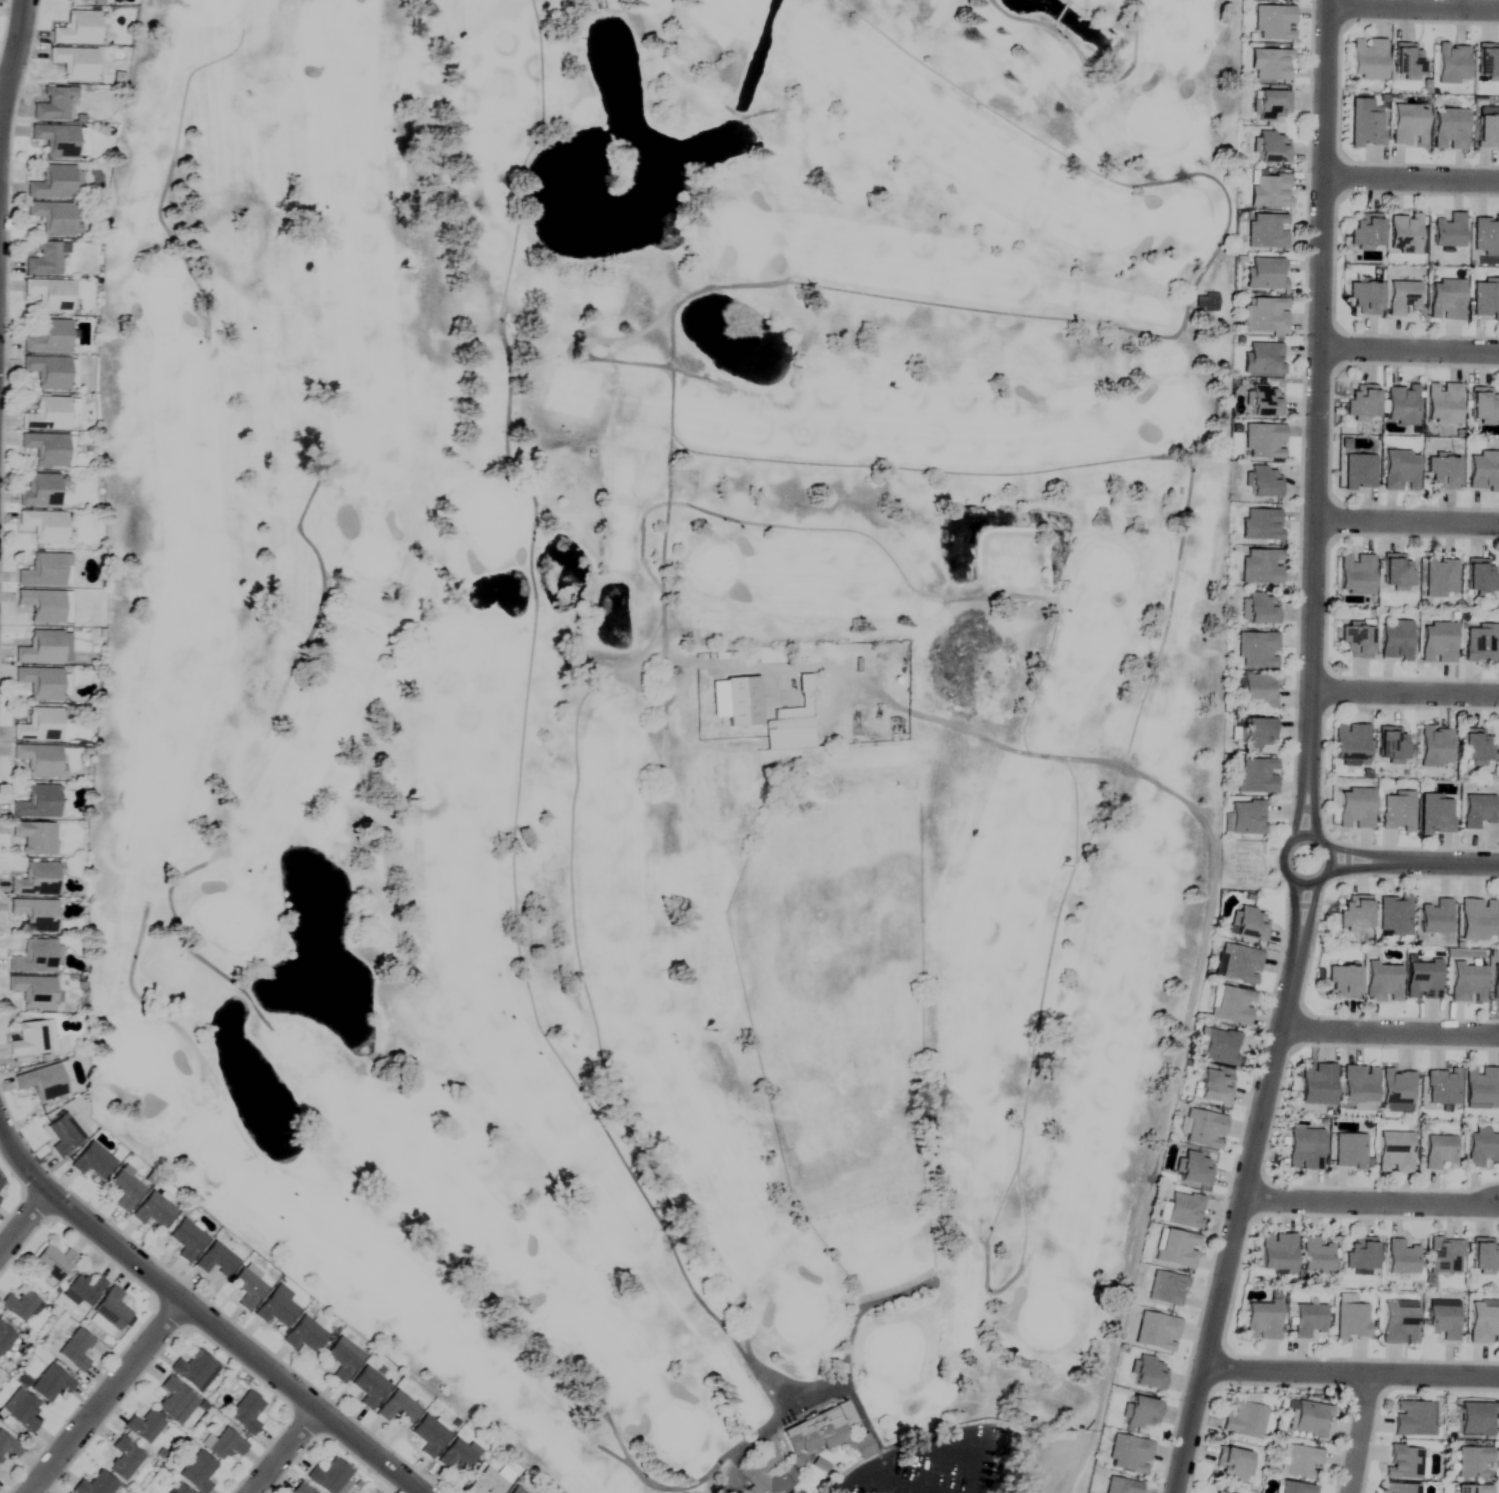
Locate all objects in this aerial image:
building: (86, 0)
road: (1414, 5)
building: (1273, 23)
building: (78, 29)
building: (1368, 59)
building: (1408, 61)
building: (1487, 62)
building: (75, 63)
building: (1452, 63)
building: (1270, 65)
road: (10, 67)
building: (54, 104)
building: (1272, 105)
building: (1365, 123)
building: (1408, 125)
building: (1487, 128)
building: (1449, 129)
building: (56, 139)
building: (1272, 147)
road: (1411, 176)
building: (52, 183)
building: (1270, 191)
building: (54, 218)
building: (1367, 231)
building: (1448, 231)
building: (1267, 232)
building: (1404, 233)
building: (1485, 236)
building: (46, 259)
building: (1265, 274)
building: (50, 295)
building: (1402, 297)
building: (1364, 298)
building: (1485, 299)
building: (1446, 300)
building: (1266, 315)
building: (48, 338)
road: (1408, 348)
building: (1263, 359)
building: (48, 372)
road: (1316, 386)
building: (1265, 401)
building: (1362, 403)
building: (1442, 403)
building: (1401, 405)
building: (1483, 405)
building: (47, 415)
building: (1264, 442)
building: (45, 449)
building: (1400, 471)
building: (1483, 471)
building: (1359, 472)
building: (1442, 473)
building: (1264, 483)
building: (40, 491)
road: (1406, 519)
building: (1260, 525)
building: (44, 526)
building: (1260, 567)
building: (46, 571)
building: (1396, 571)
building: (1356, 575)
building: (1439, 578)
building: (1479, 578)
building: (45, 606)
building: (1261, 609)
building: (1356, 640)
building: (1395, 641)
building: (1437, 643)
building: (1480, 644)
building: (41, 649)
building: (1257, 650)
building: (40, 683)
building: (1259, 691)
road: (1404, 691)
park: (661, 698)
building: (760, 716)
building: (39, 726)
building: (1258, 734)
building: (1350, 745)
building: (1391, 745)
building: (1475, 747)
building: (1435, 748)
building: (40, 760)
building: (1255, 777)
building: (37, 803)
road: (1313, 803)
road: (1297, 804)
building: (1356, 809)
building: (1397, 812)
building: (1478, 813)
building: (1435, 815)
building: (1246, 818)
road: (1296, 834)
building: (34, 838)
road: (1357, 849)
road: (1443, 861)
road: (1358, 865)
building: (37, 880)
building: (1354, 912)
building: (35, 914)
road: (1295, 914)
road: (1308, 915)
building: (1393, 915)
building: (1435, 917)
building: (1476, 919)
building: (1249, 924)
building: (35, 957)
building: (1239, 964)
building: (1422, 980)
building: (1342, 981)
building: (1382, 981)
building: (1495, 981)
building: (1467, 982)
building: (33, 991)
building: (1232, 1005)
road: (1389, 1031)
building: (31, 1038)
building: (1216, 1045)
building: (42, 1081)
building: (1317, 1083)
building: (1359, 1086)
building: (1442, 1086)
building: (1214, 1087)
building: (1481, 1088)
building: (1396, 1090)
building: (1203, 1129)
building: (63, 1134)
building: (1481, 1147)
building: (1304, 1148)
building: (1349, 1150)
building: (1439, 1151)
building: (1394, 1152)
building: (92, 1160)
building: (1195, 1169)
building: (125, 1188)
road: (1370, 1201)
building: (1183, 1209)
building: (152, 1211)
road: (1236, 1221)
road: (24, 1222)
building: (186, 1240)
building: (1176, 1248)
building: (1277, 1252)
building: (1360, 1252)
building: (1315, 1255)
building: (1444, 1255)
building: (1484, 1255)
building: (1401, 1257)
building: (215, 1261)
building: (53, 1262)
building: (1166, 1288)
building: (246, 1289)
building: (83, 1290)
building: (18, 1305)
building: (275, 1310)
building: (110, 1311)
road: (202, 1315)
building: (1350, 1318)
building: (1443, 1319)
building: (1261, 1320)
building: (1307, 1320)
building: (1399, 1322)
building: (1484, 1322)
building: (1156, 1331)
building: (303, 1336)
building: (5, 1338)
building: (75, 1349)
building: (342, 1359)
building: (194, 1369)
road: (1351, 1371)
building: (1149, 1373)
building: (51, 1383)
building: (369, 1387)
road: (107, 1397)
building: (172, 1398)
building: (397, 1408)
building: (245, 1412)
building: (24, 1413)
building: (1142, 1413)
building: (1414, 1418)
building: (1243, 1419)
building: (1310, 1419)
building: (1476, 1419)
building: (143, 1426)
building: (814, 1432)
road: (1359, 1432)
building: (429, 1436)
building: (225, 1444)
building: (8, 1446)
road: (917, 1446)
road: (286, 1451)
building: (1128, 1454)
building: (456, 1456)
building: (124, 1459)
building: (1300, 1461)
building: (1404, 1462)
building: (1472, 1462)
building: (1233, 1464)
building: (197, 1472)
building: (769, 1472)
building: (329, 1476)
building: (94, 1482)
building: (486, 1483)
building: (1121, 1486)
building: (1292, 1488)
building: (1400, 1488)
building: (178, 1489)
building: (300, 1489)
building: (1472, 1489)
building: (516, 1490)
building: (1217, 1492)

